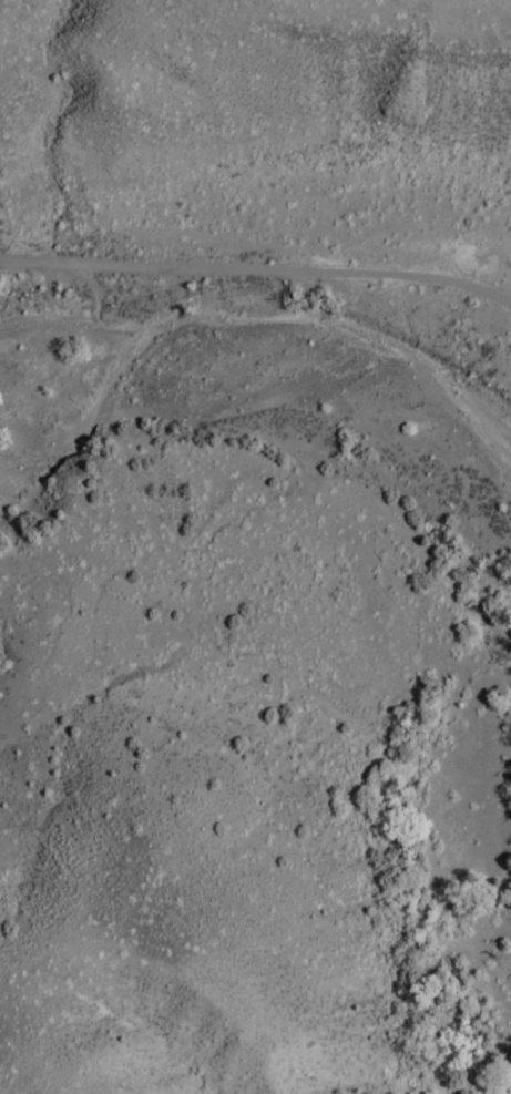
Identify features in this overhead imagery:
road: (257, 257)

